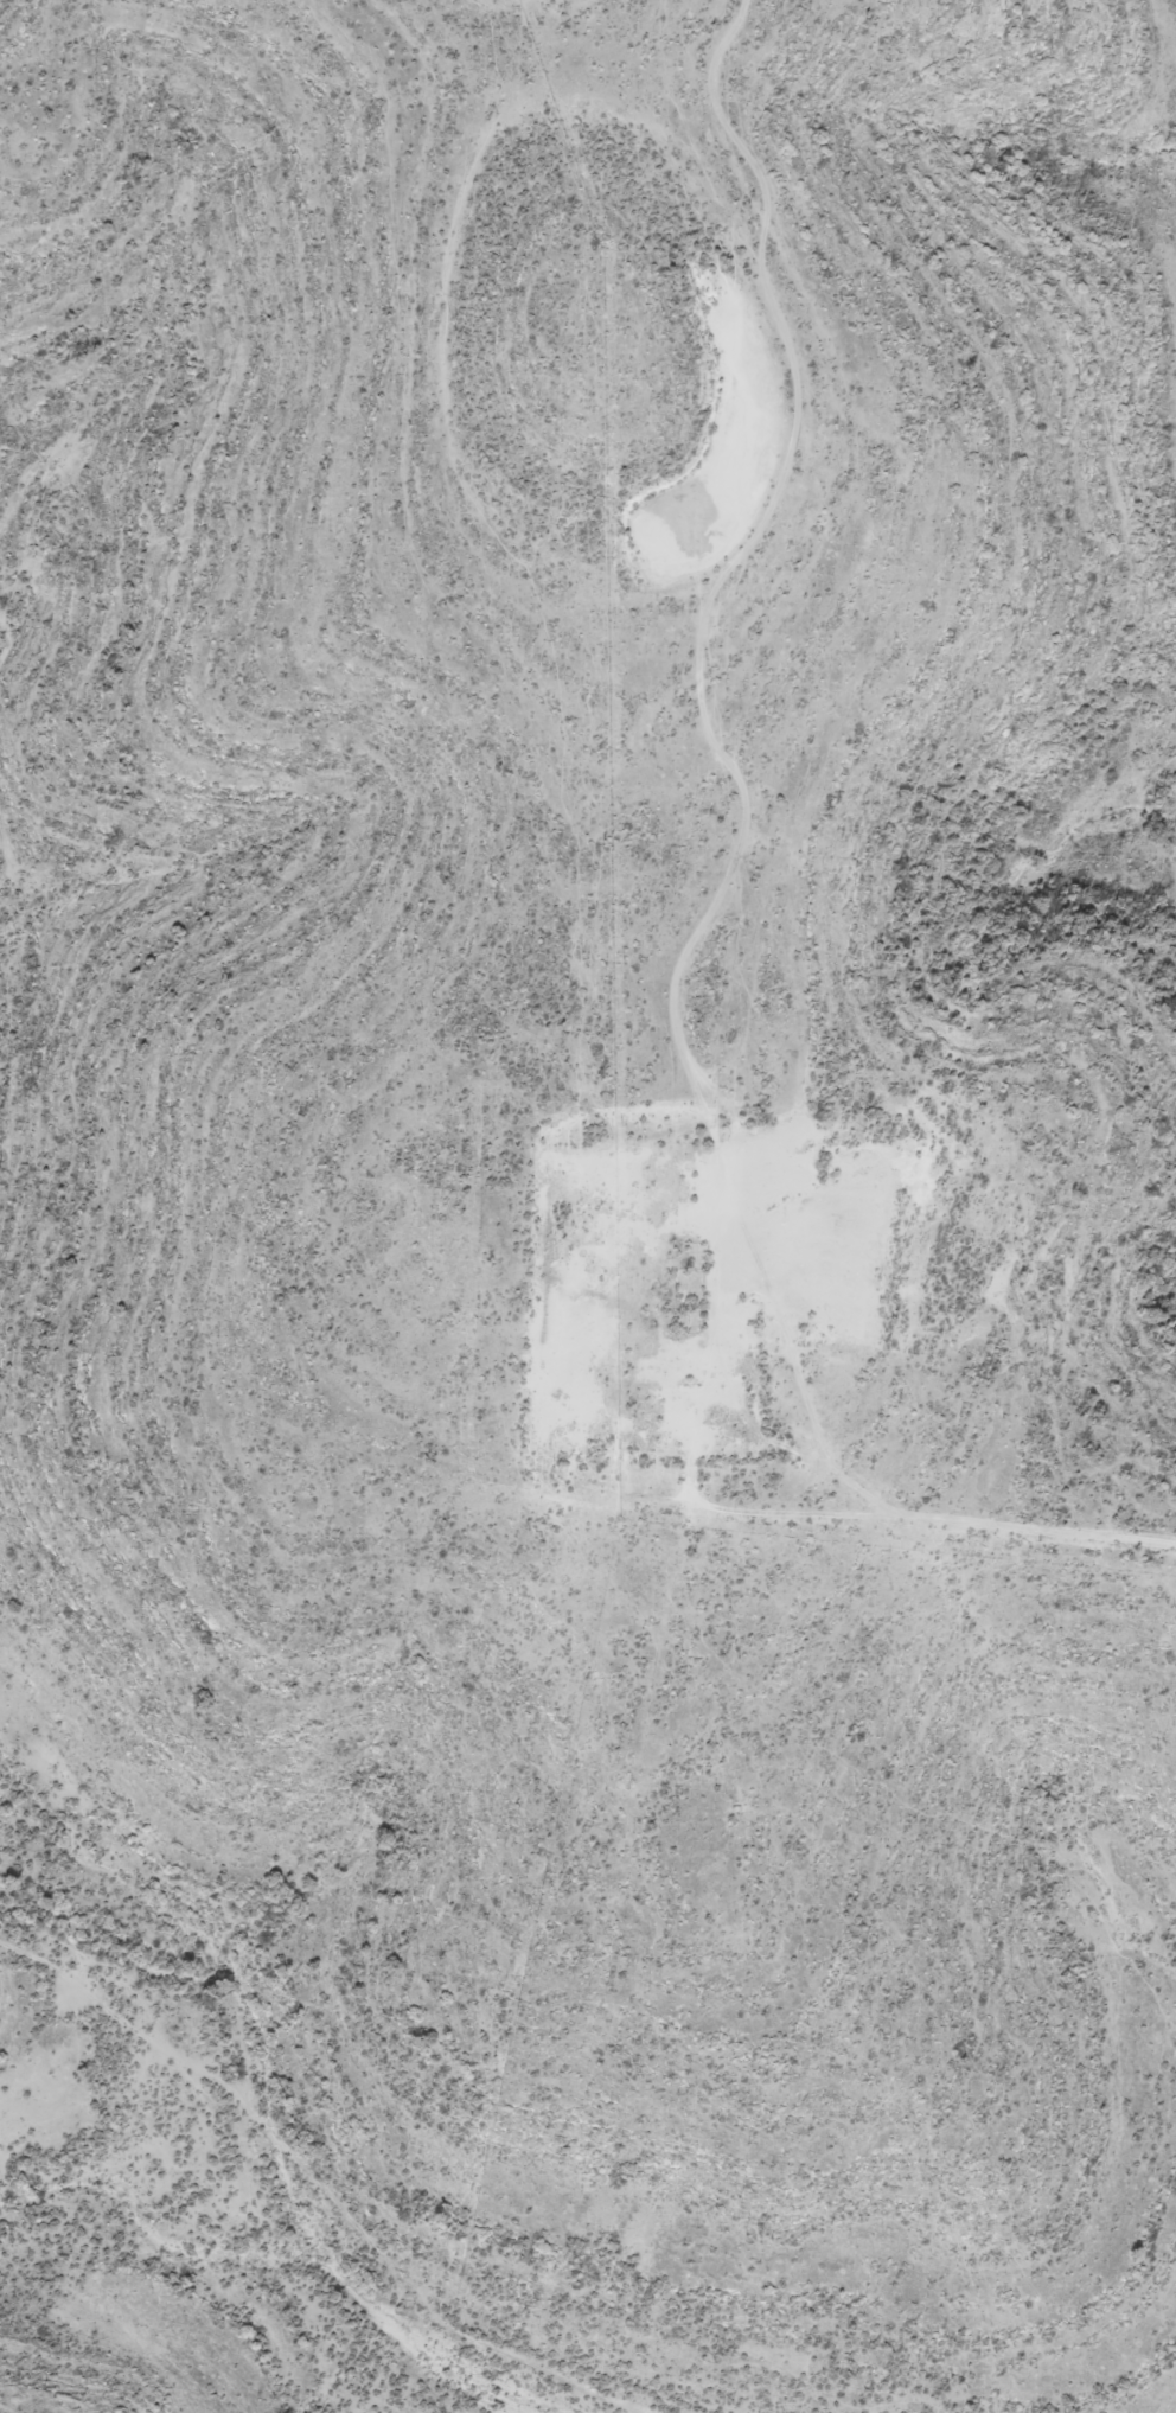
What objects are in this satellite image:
road: (5, 651)
road: (5, 828)
road: (859, 1536)
road: (322, 2184)

